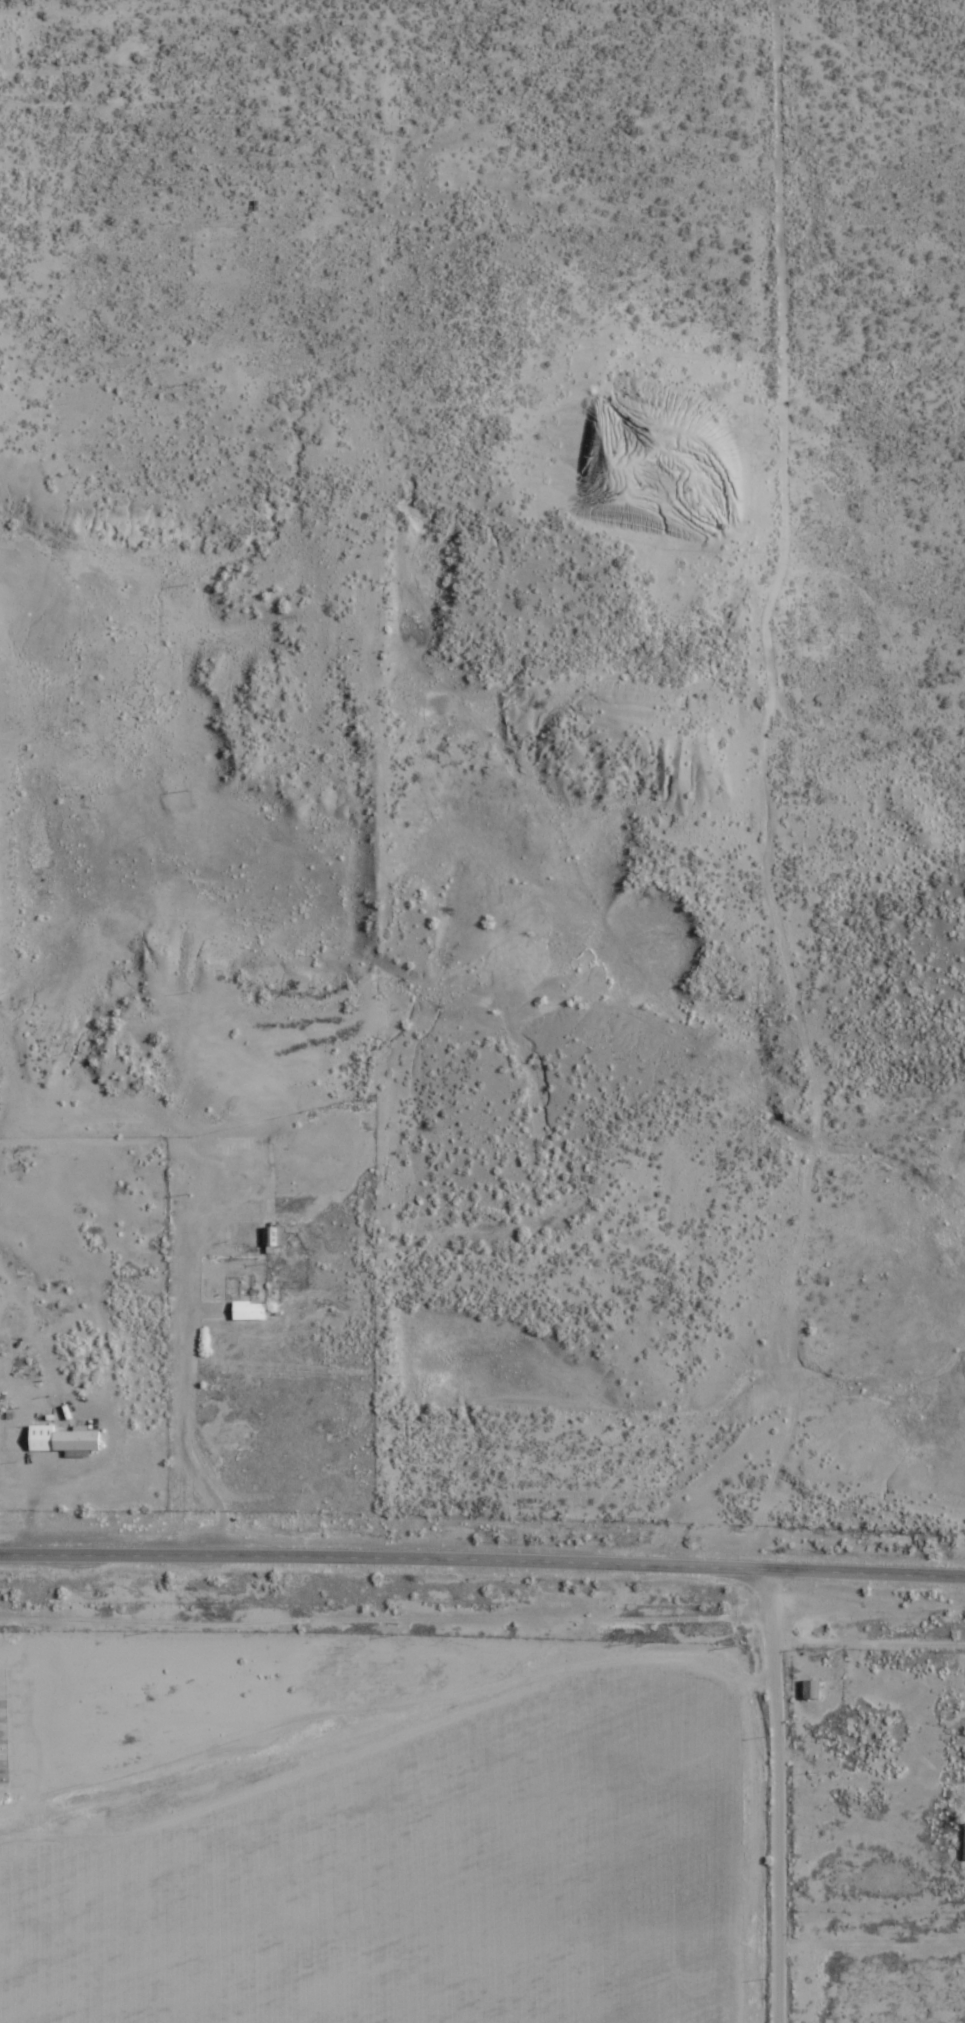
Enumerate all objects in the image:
building: (249, 1311)
road: (482, 1560)
road: (769, 1798)

